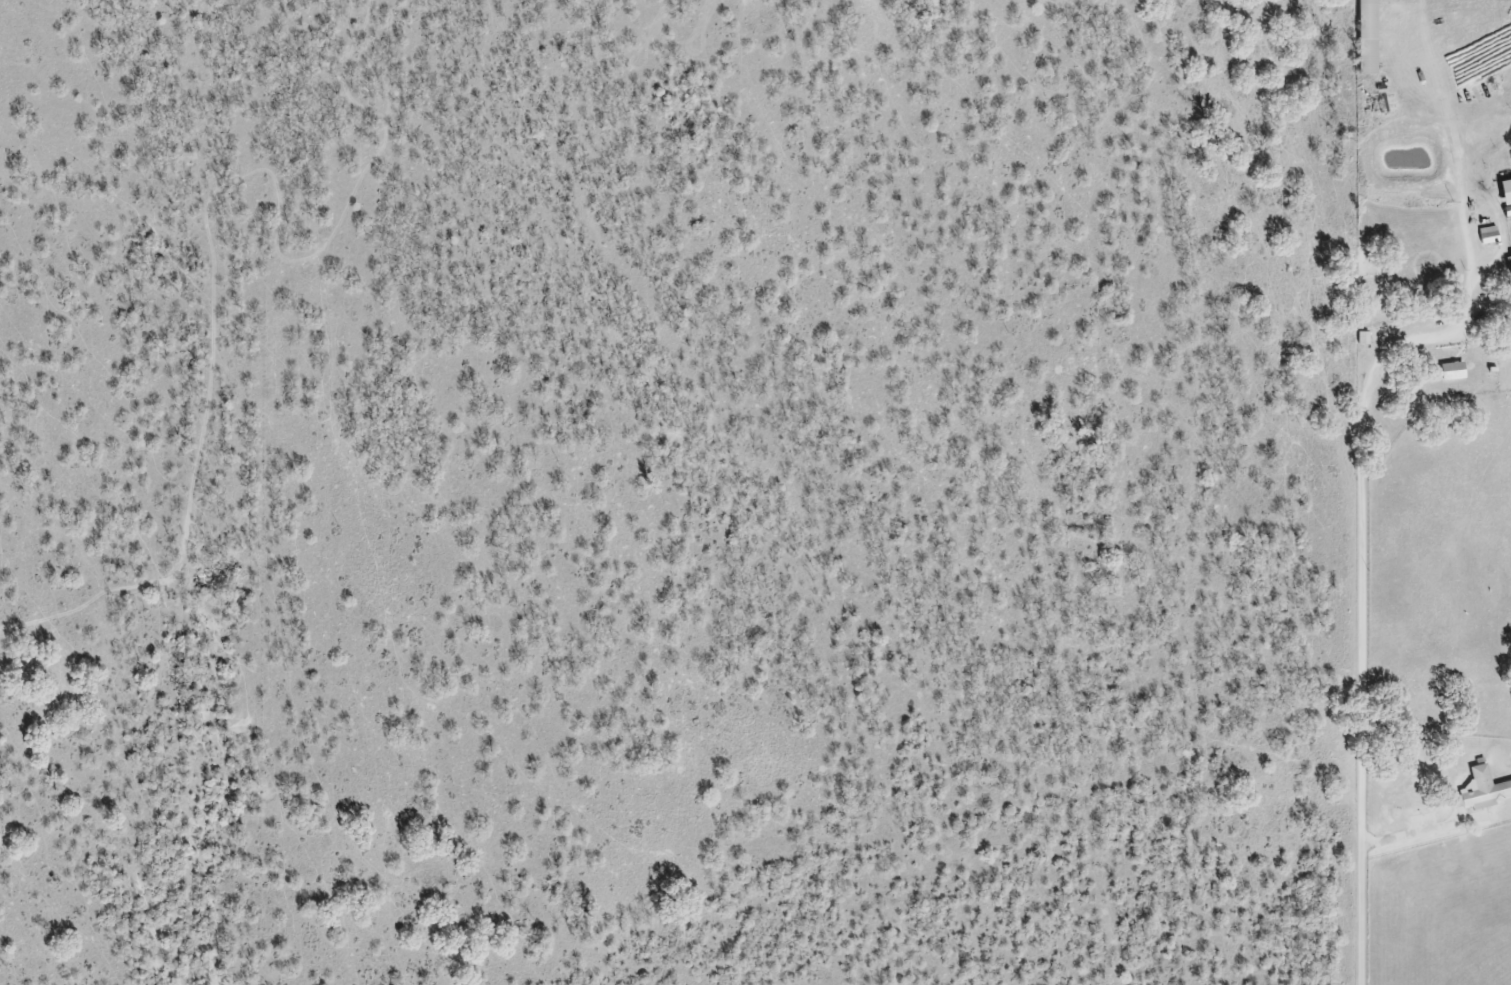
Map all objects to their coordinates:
building: (1365, 38)
road: (1448, 91)
building: (1505, 198)
building: (1486, 237)
building: (1508, 269)
building: (1449, 373)
road: (1366, 553)
building: (1483, 792)
road: (1421, 832)

